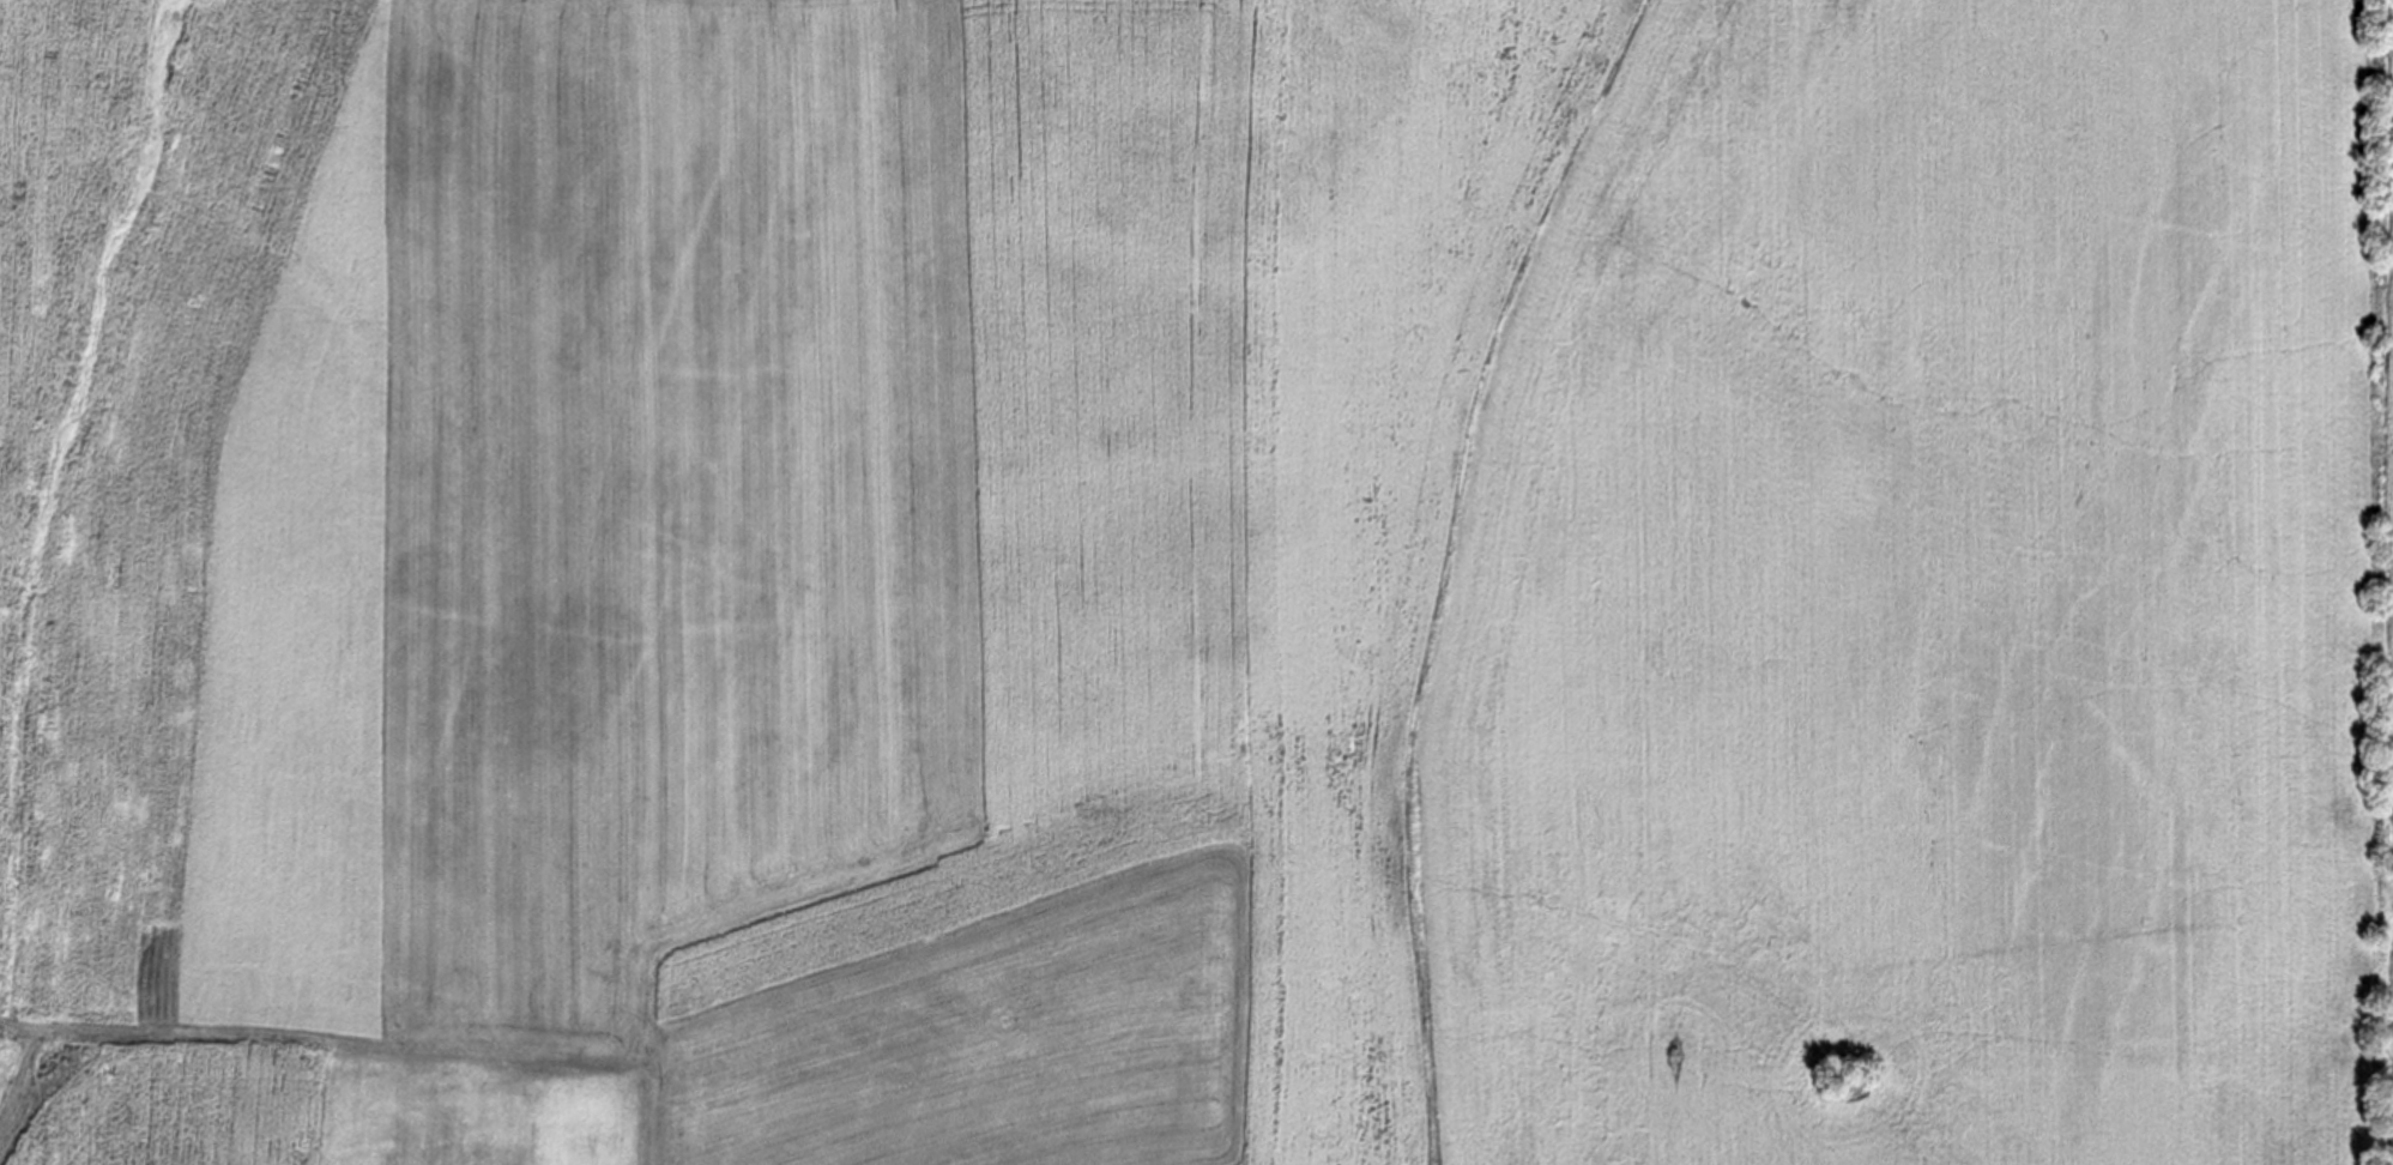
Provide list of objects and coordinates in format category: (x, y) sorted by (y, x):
road: (370, 1044)
road: (425, 1095)

